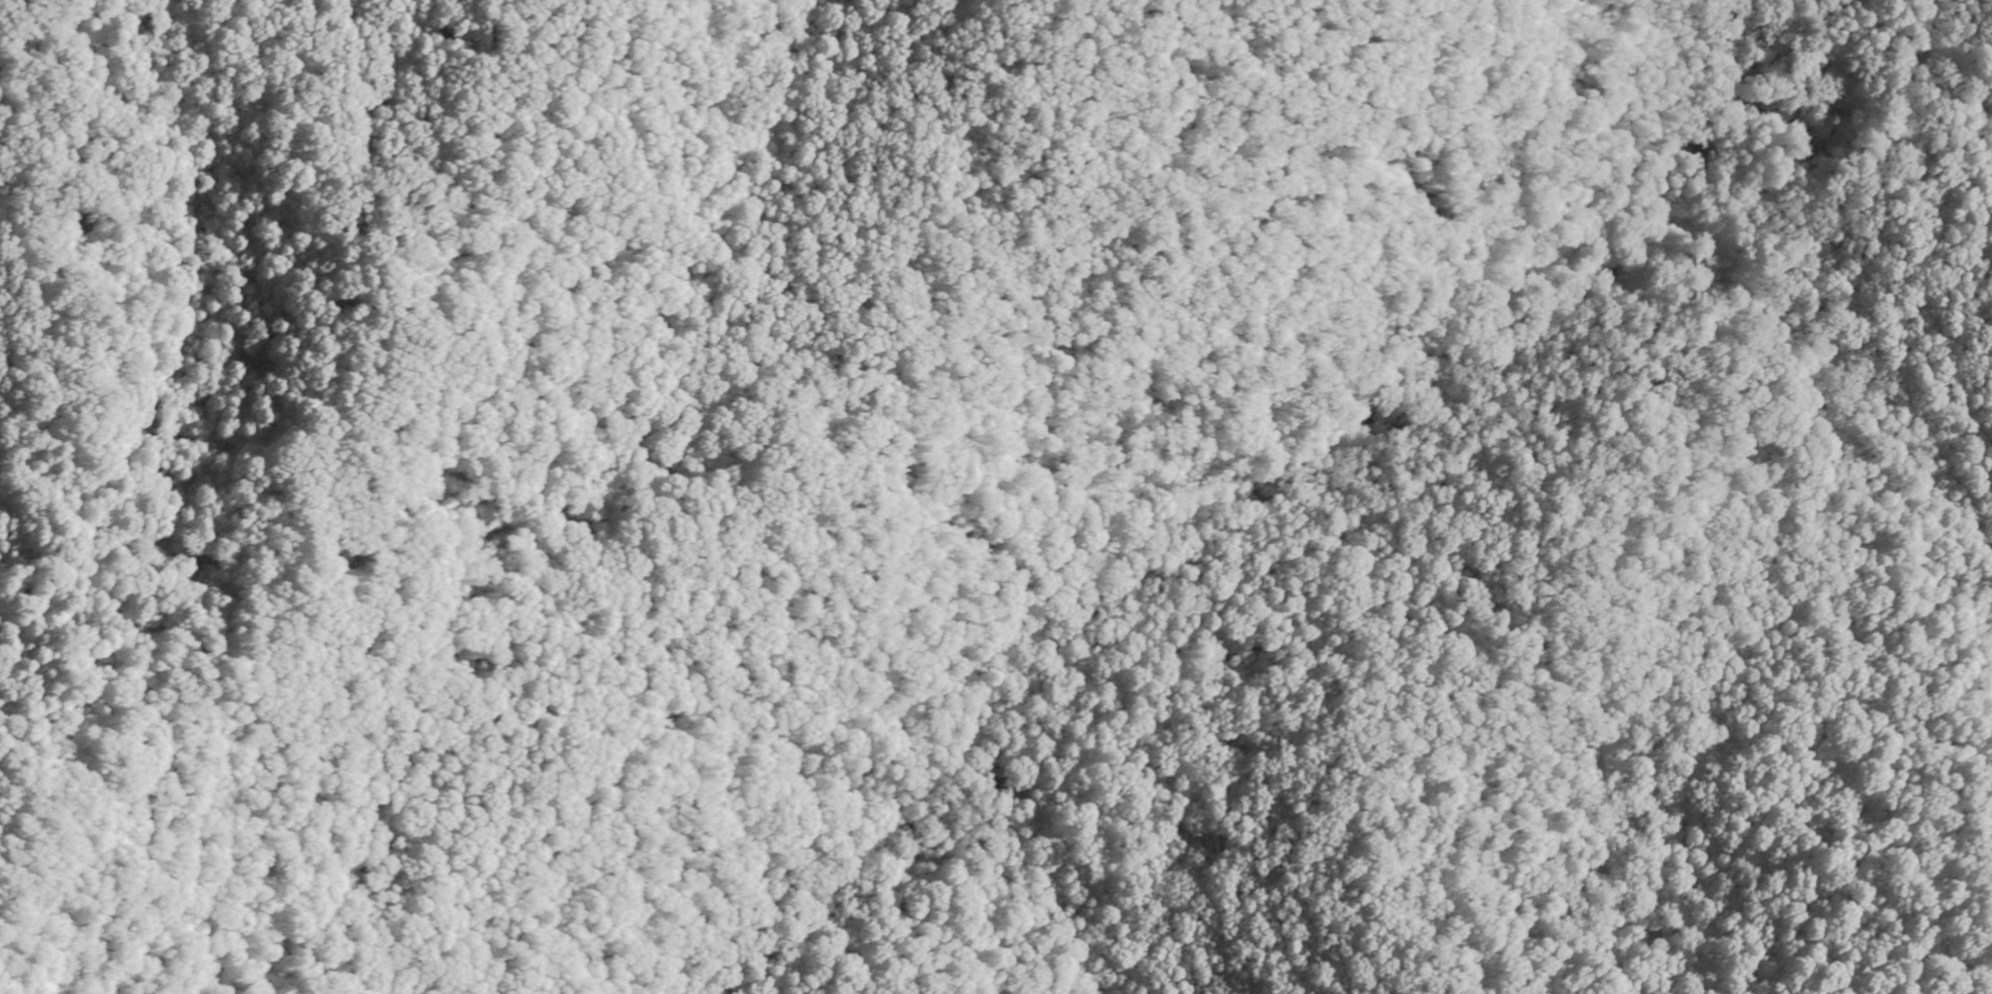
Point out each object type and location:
road: (1980, 11)

